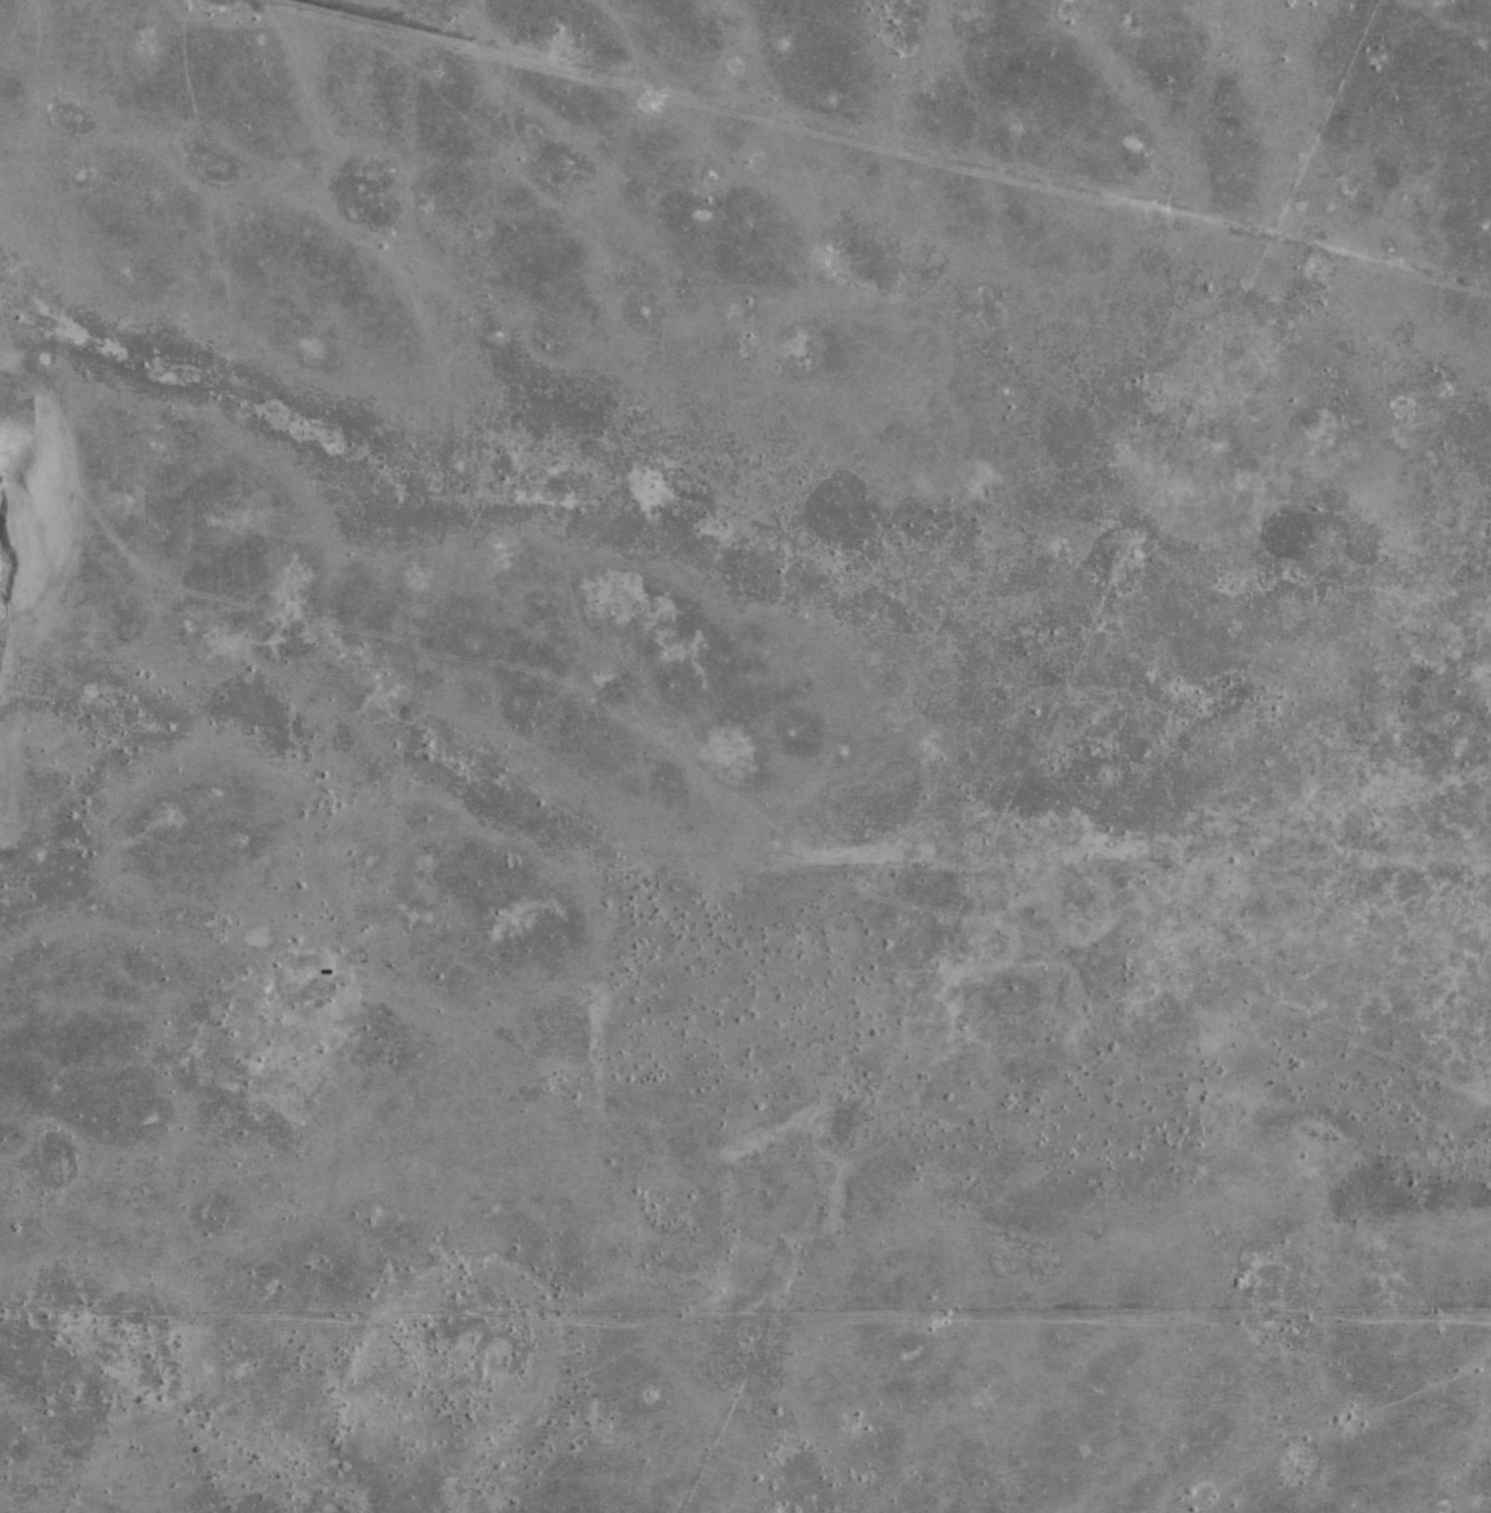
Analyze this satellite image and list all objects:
road: (430, 458)

